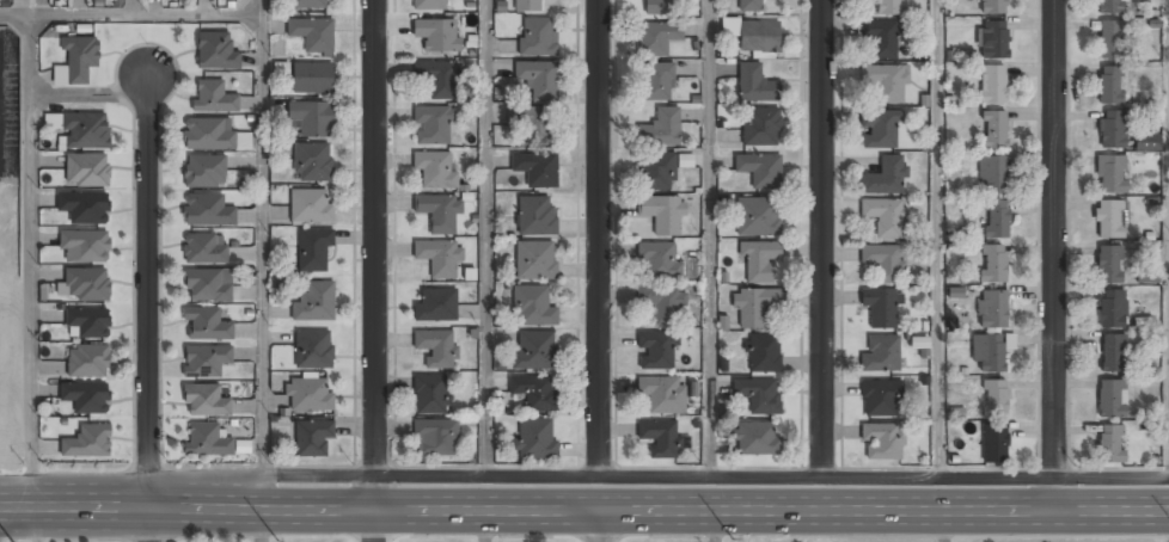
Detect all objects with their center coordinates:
building: (310, 4)
building: (429, 5)
building: (527, 6)
building: (749, 6)
building: (993, 6)
building: (659, 7)
building: (889, 7)
building: (1109, 7)
road: (131, 13)
building: (312, 35)
building: (436, 35)
building: (538, 37)
building: (759, 37)
building: (656, 38)
building: (880, 38)
building: (992, 39)
building: (1109, 39)
building: (215, 51)
building: (76, 61)
building: (437, 78)
building: (312, 79)
building: (538, 79)
building: (656, 82)
building: (885, 82)
building: (755, 85)
building: (992, 85)
building: (1109, 85)
building: (213, 98)
building: (312, 119)
building: (532, 123)
building: (433, 125)
building: (760, 127)
building: (660, 129)
building: (880, 129)
building: (1110, 129)
building: (992, 130)
building: (85, 131)
building: (208, 135)
building: (1146, 142)
building: (311, 162)
building: (535, 168)
building: (435, 170)
building: (759, 170)
building: (86, 171)
building: (204, 172)
building: (656, 172)
building: (992, 175)
building: (1110, 175)
building: (885, 177)
building: (311, 205)
building: (84, 208)
building: (207, 210)
building: (439, 213)
building: (537, 215)
building: (662, 215)
building: (758, 217)
building: (885, 217)
building: (997, 220)
building: (1109, 220)
road: (484, 238)
road: (598, 238)
road: (708, 238)
road: (821, 238)
road: (935, 238)
road: (264, 239)
building: (84, 247)
building: (203, 250)
building: (313, 250)
road: (1054, 255)
building: (437, 258)
building: (758, 259)
road: (31, 260)
building: (535, 260)
building: (659, 261)
building: (885, 261)
building: (992, 264)
building: (1109, 265)
road: (378, 271)
building: (1146, 276)
building: (84, 285)
building: (208, 287)
road: (147, 290)
building: (314, 301)
building: (661, 303)
building: (753, 304)
building: (435, 306)
building: (534, 307)
building: (880, 308)
building: (991, 309)
building: (1112, 309)
building: (86, 324)
building: (206, 325)
building: (919, 341)
building: (436, 347)
building: (313, 349)
building: (655, 350)
building: (535, 351)
building: (763, 352)
building: (987, 352)
building: (1112, 353)
building: (880, 355)
building: (206, 361)
building: (87, 362)
building: (535, 393)
building: (661, 393)
building: (308, 394)
building: (430, 394)
building: (758, 395)
building: (86, 398)
building: (880, 398)
building: (1110, 398)
building: (993, 399)
building: (206, 402)
building: (311, 437)
building: (660, 437)
building: (434, 438)
building: (755, 438)
building: (535, 439)
building: (206, 441)
building: (881, 442)
building: (86, 443)
building: (993, 443)
building: (1110, 444)
road: (690, 476)
road: (74, 507)
road: (657, 510)
road: (36, 524)
road: (148, 525)
road: (262, 525)
road: (485, 525)
road: (600, 525)
road: (714, 526)
road: (943, 526)
power tower: (284, 537)
power tower: (739, 538)

